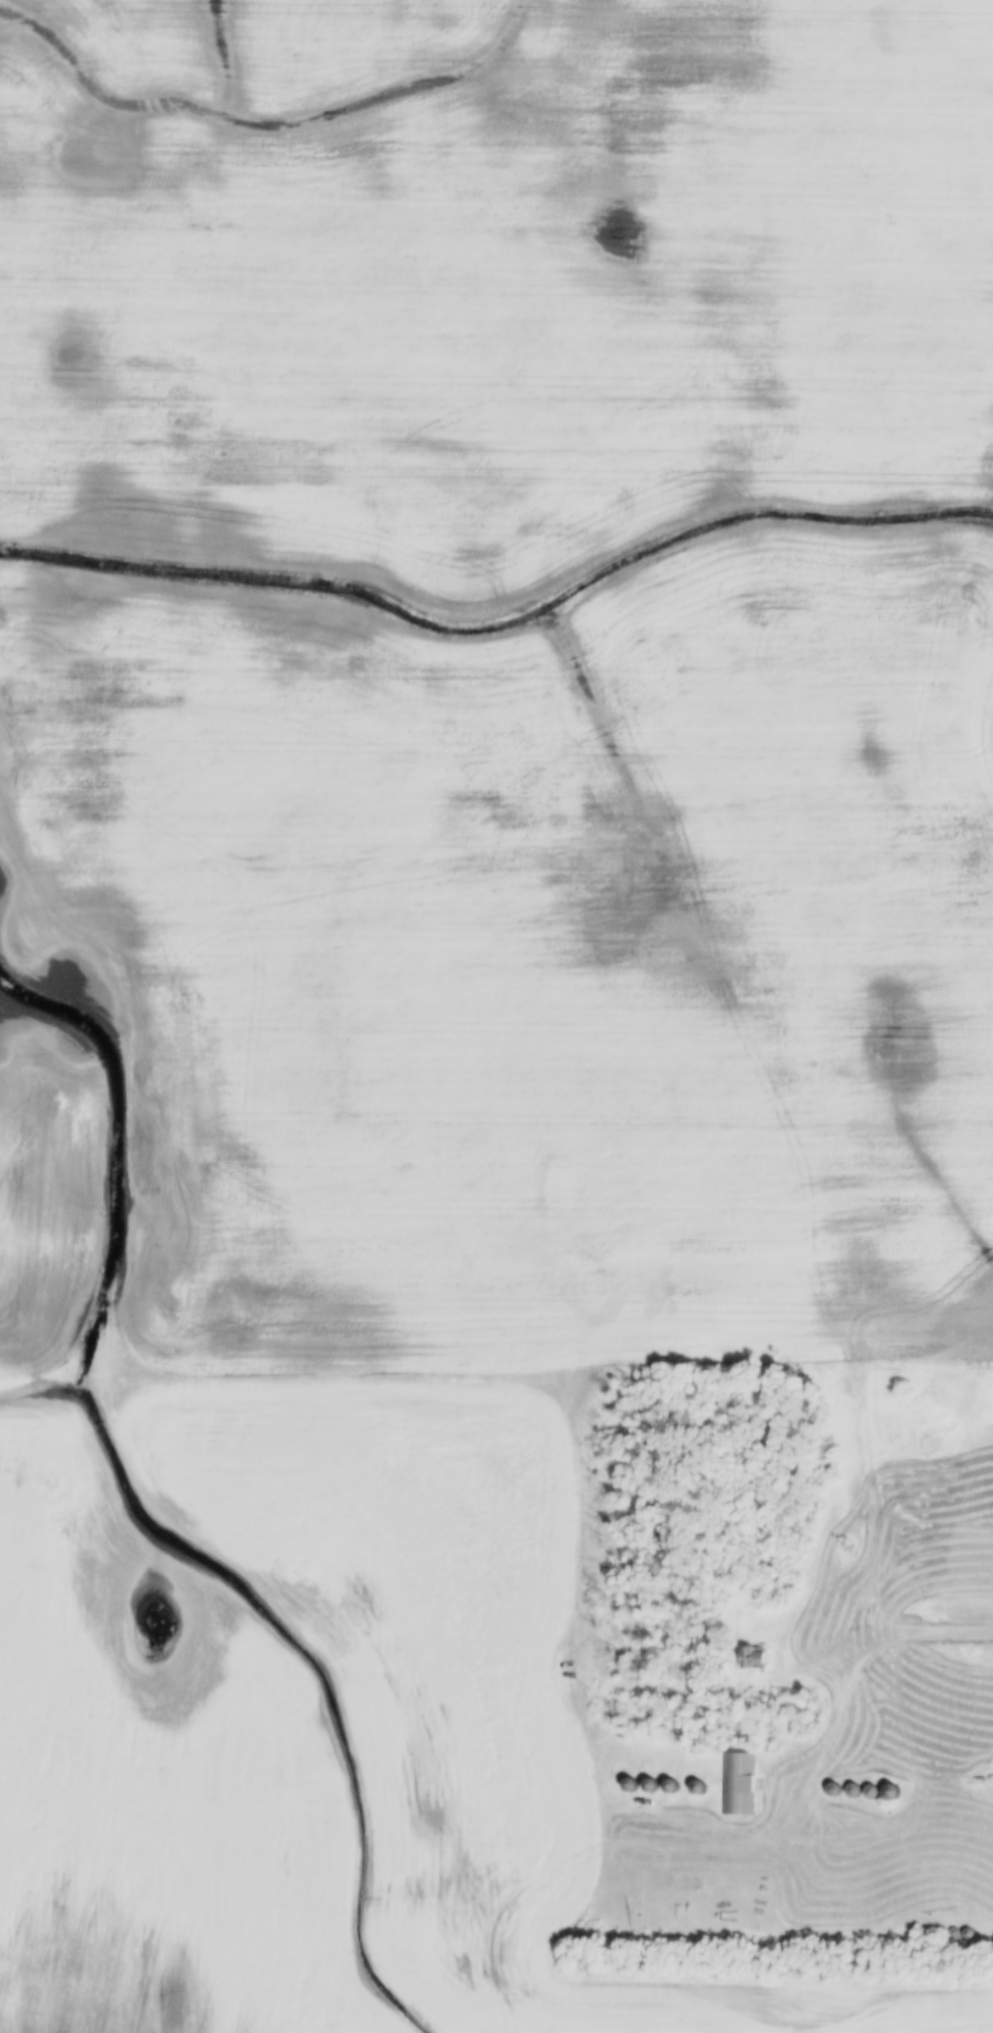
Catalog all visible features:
road: (951, 1630)
building: (755, 1661)
building: (738, 1786)
road: (833, 1827)

